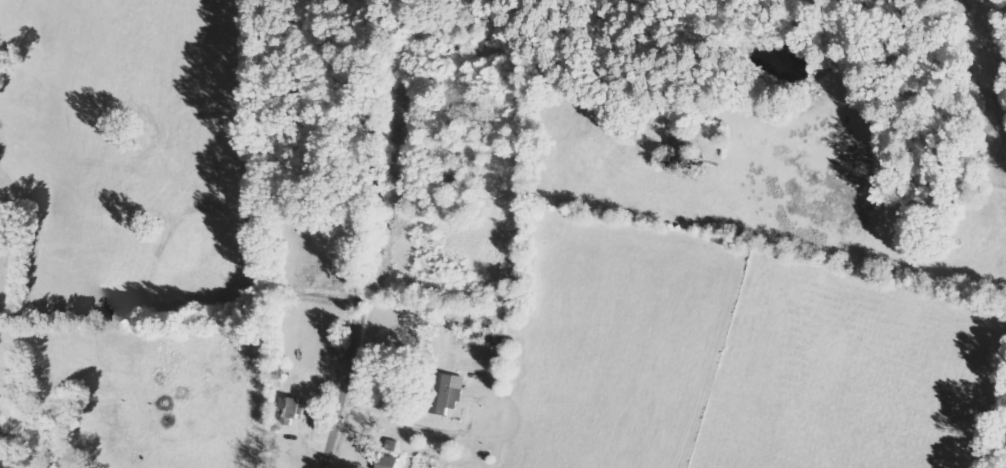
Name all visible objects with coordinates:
road: (366, 229)
building: (447, 393)
building: (294, 408)
building: (395, 461)

